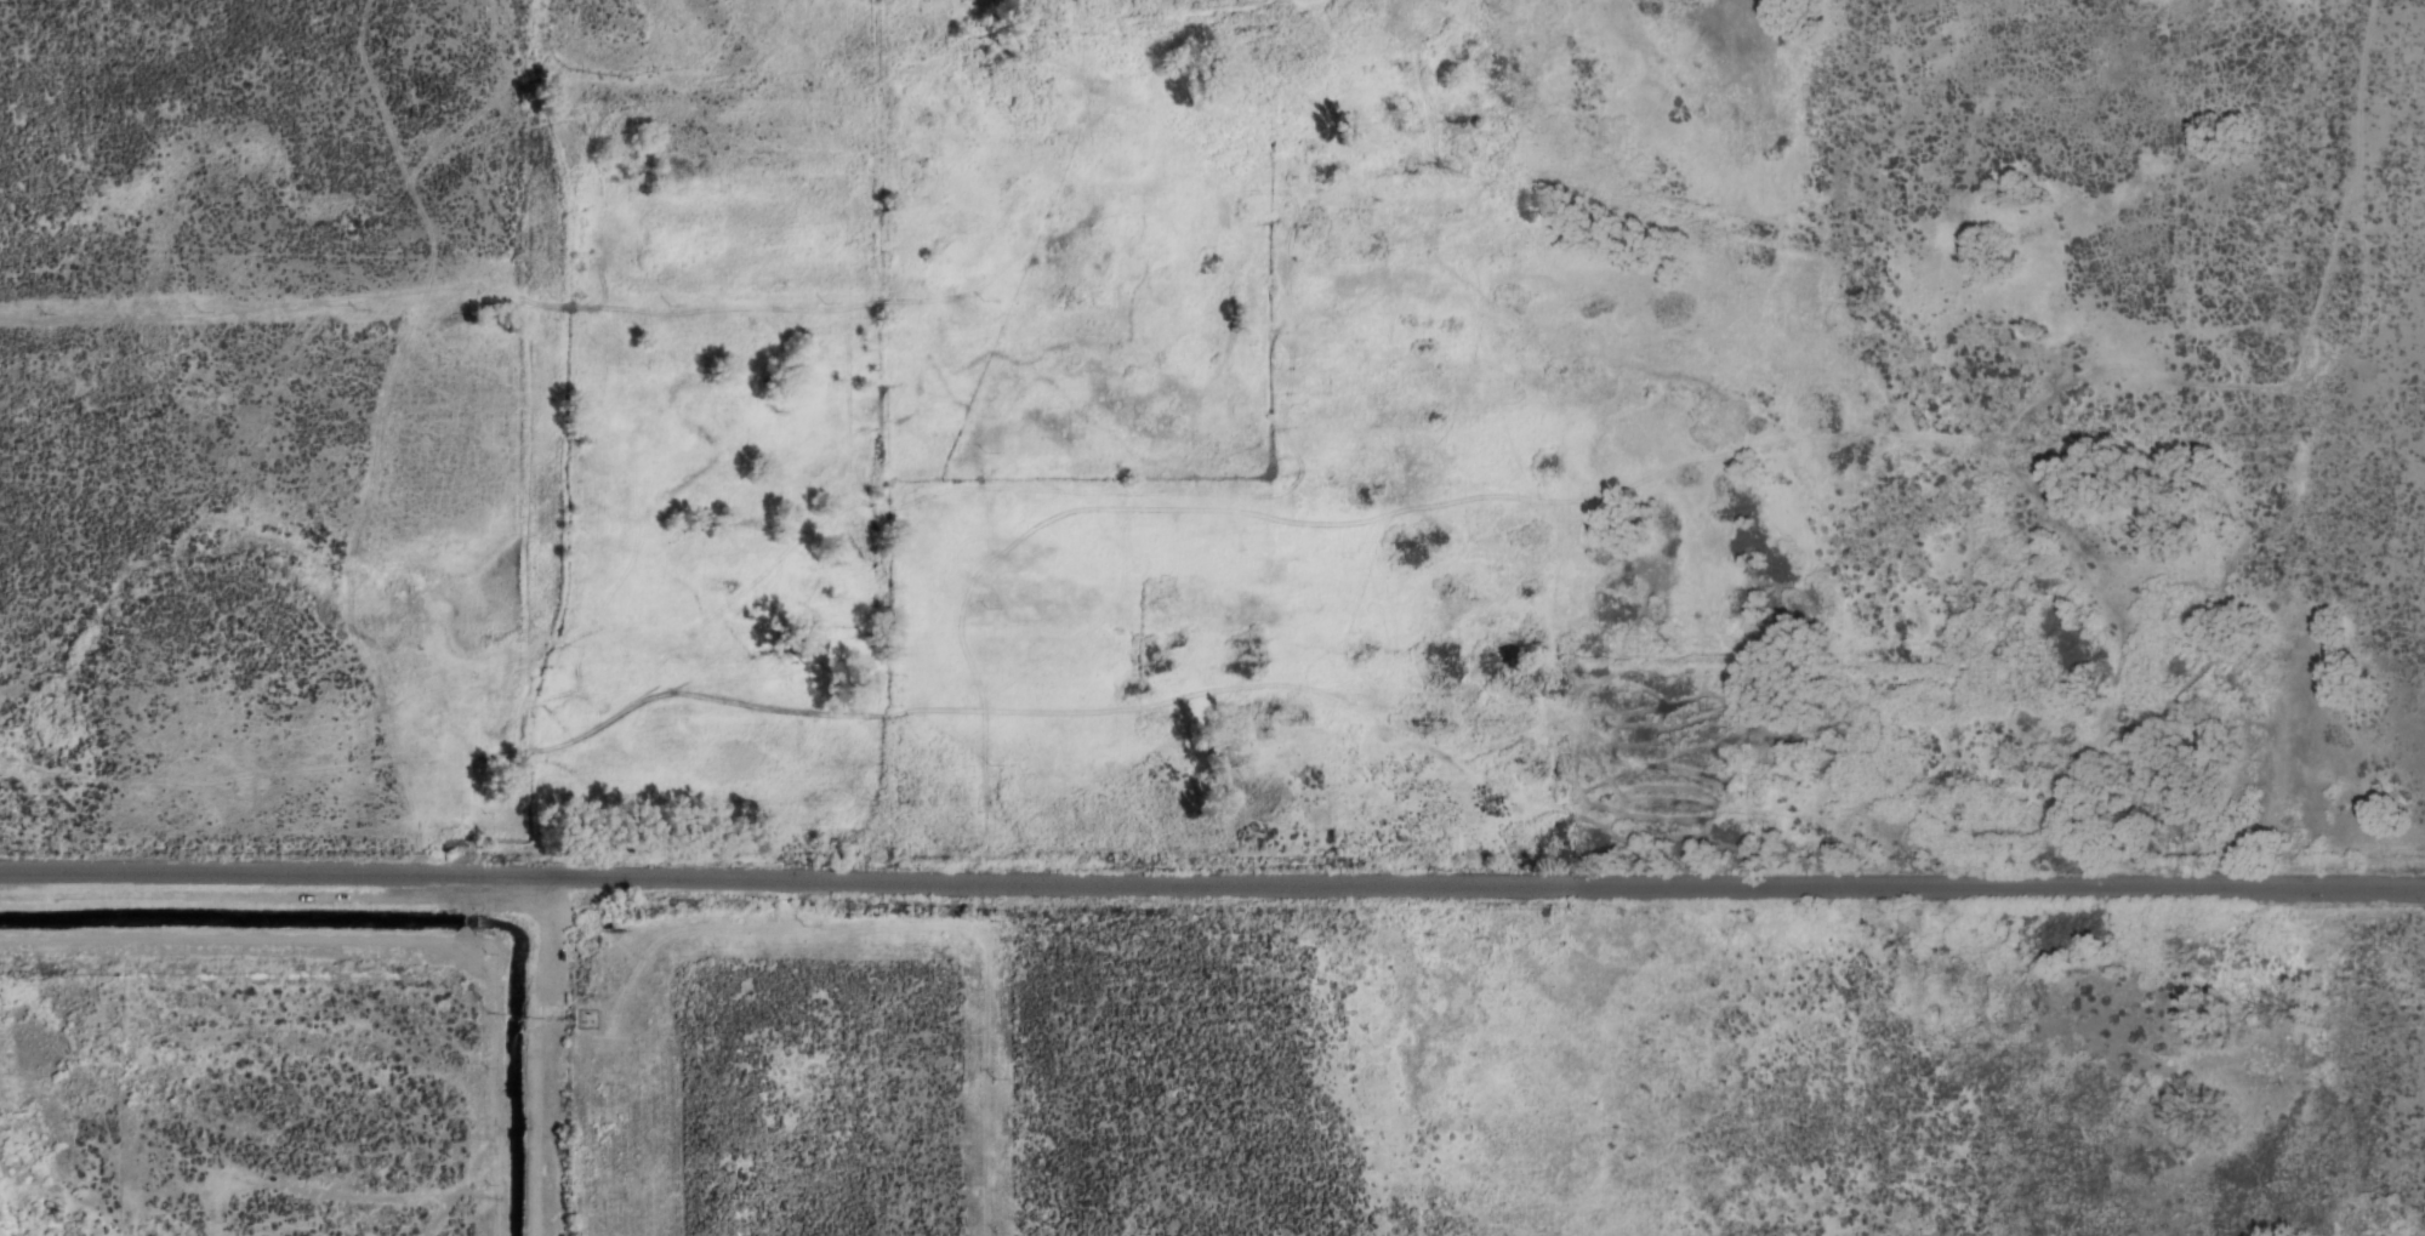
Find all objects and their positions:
road: (1212, 884)

